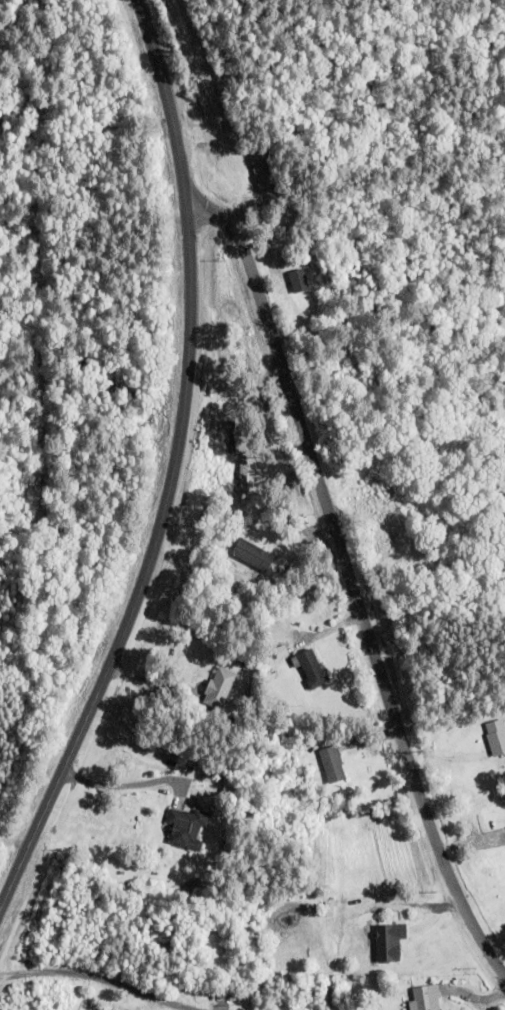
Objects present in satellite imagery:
building: (263, 168)
building: (295, 278)
building: (437, 454)
road: (171, 464)
building: (461, 519)
building: (275, 562)
road: (350, 580)
building: (308, 668)
building: (217, 687)
building: (494, 734)
building: (329, 762)
building: (184, 828)
building: (373, 948)
road: (101, 976)
building: (422, 996)

